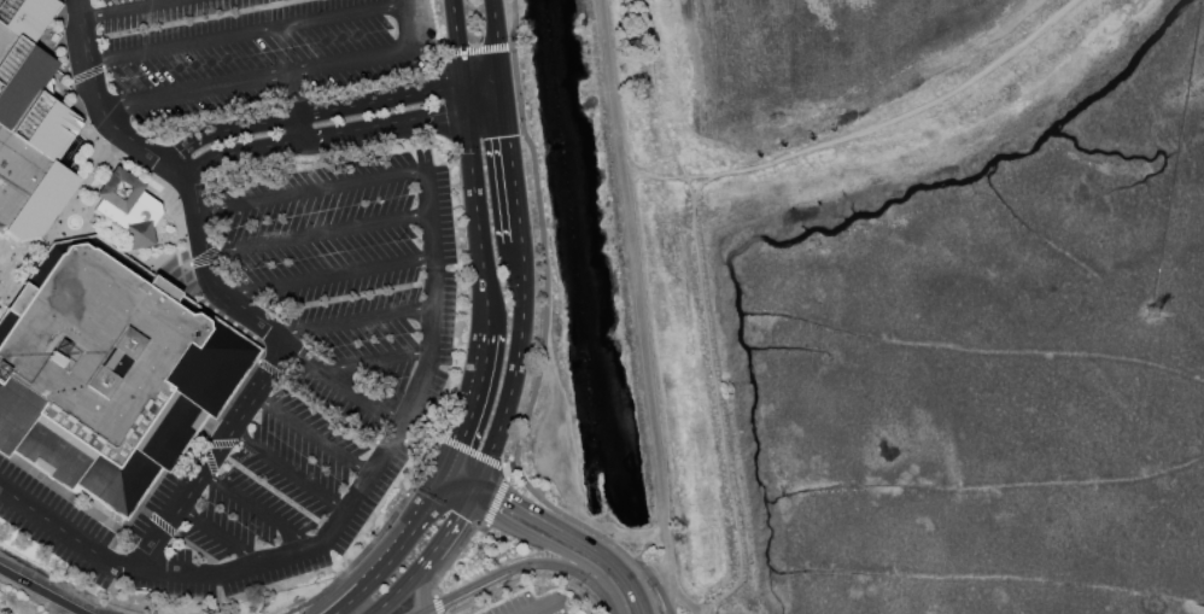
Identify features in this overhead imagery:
road: (119, 7)
road: (247, 29)
road: (496, 39)
traffic signals: (456, 43)
parking lot: (251, 48)
road: (493, 48)
road: (427, 49)
road: (372, 52)
road: (457, 52)
road: (193, 84)
road: (502, 89)
road: (292, 92)
road: (97, 95)
road: (398, 97)
road: (483, 105)
traffic signals: (444, 112)
road: (381, 123)
building: (30, 125)
road: (298, 128)
road: (224, 129)
road: (866, 134)
traffic signals: (508, 136)
road: (467, 141)
road: (239, 151)
road: (306, 188)
road: (514, 188)
building: (128, 207)
road: (314, 230)
road: (631, 261)
road: (328, 271)
power tower: (1150, 314)
road: (353, 318)
road: (542, 343)
road: (374, 357)
parking lot: (320, 366)
building: (107, 372)
road: (510, 382)
road: (343, 384)
road: (478, 384)
road: (719, 408)
road: (229, 429)
road: (312, 433)
road: (413, 438)
traffic signals: (461, 442)
road: (471, 451)
road: (381, 456)
road: (512, 467)
road: (505, 474)
road: (284, 475)
road: (460, 478)
road: (452, 492)
road: (469, 493)
traffic signals: (502, 498)
road: (495, 502)
road: (258, 508)
traffic signals: (457, 515)
parking lot: (57, 526)
road: (221, 533)
road: (444, 534)
road: (408, 537)
road: (531, 537)
road: (571, 537)
road: (375, 538)
road: (451, 552)
road: (667, 557)
road: (512, 566)
road: (397, 589)
road: (420, 589)
road: (40, 591)
road: (609, 592)
road: (339, 602)
road: (347, 602)
road: (684, 602)
road: (436, 606)
road: (542, 606)
road: (426, 609)

